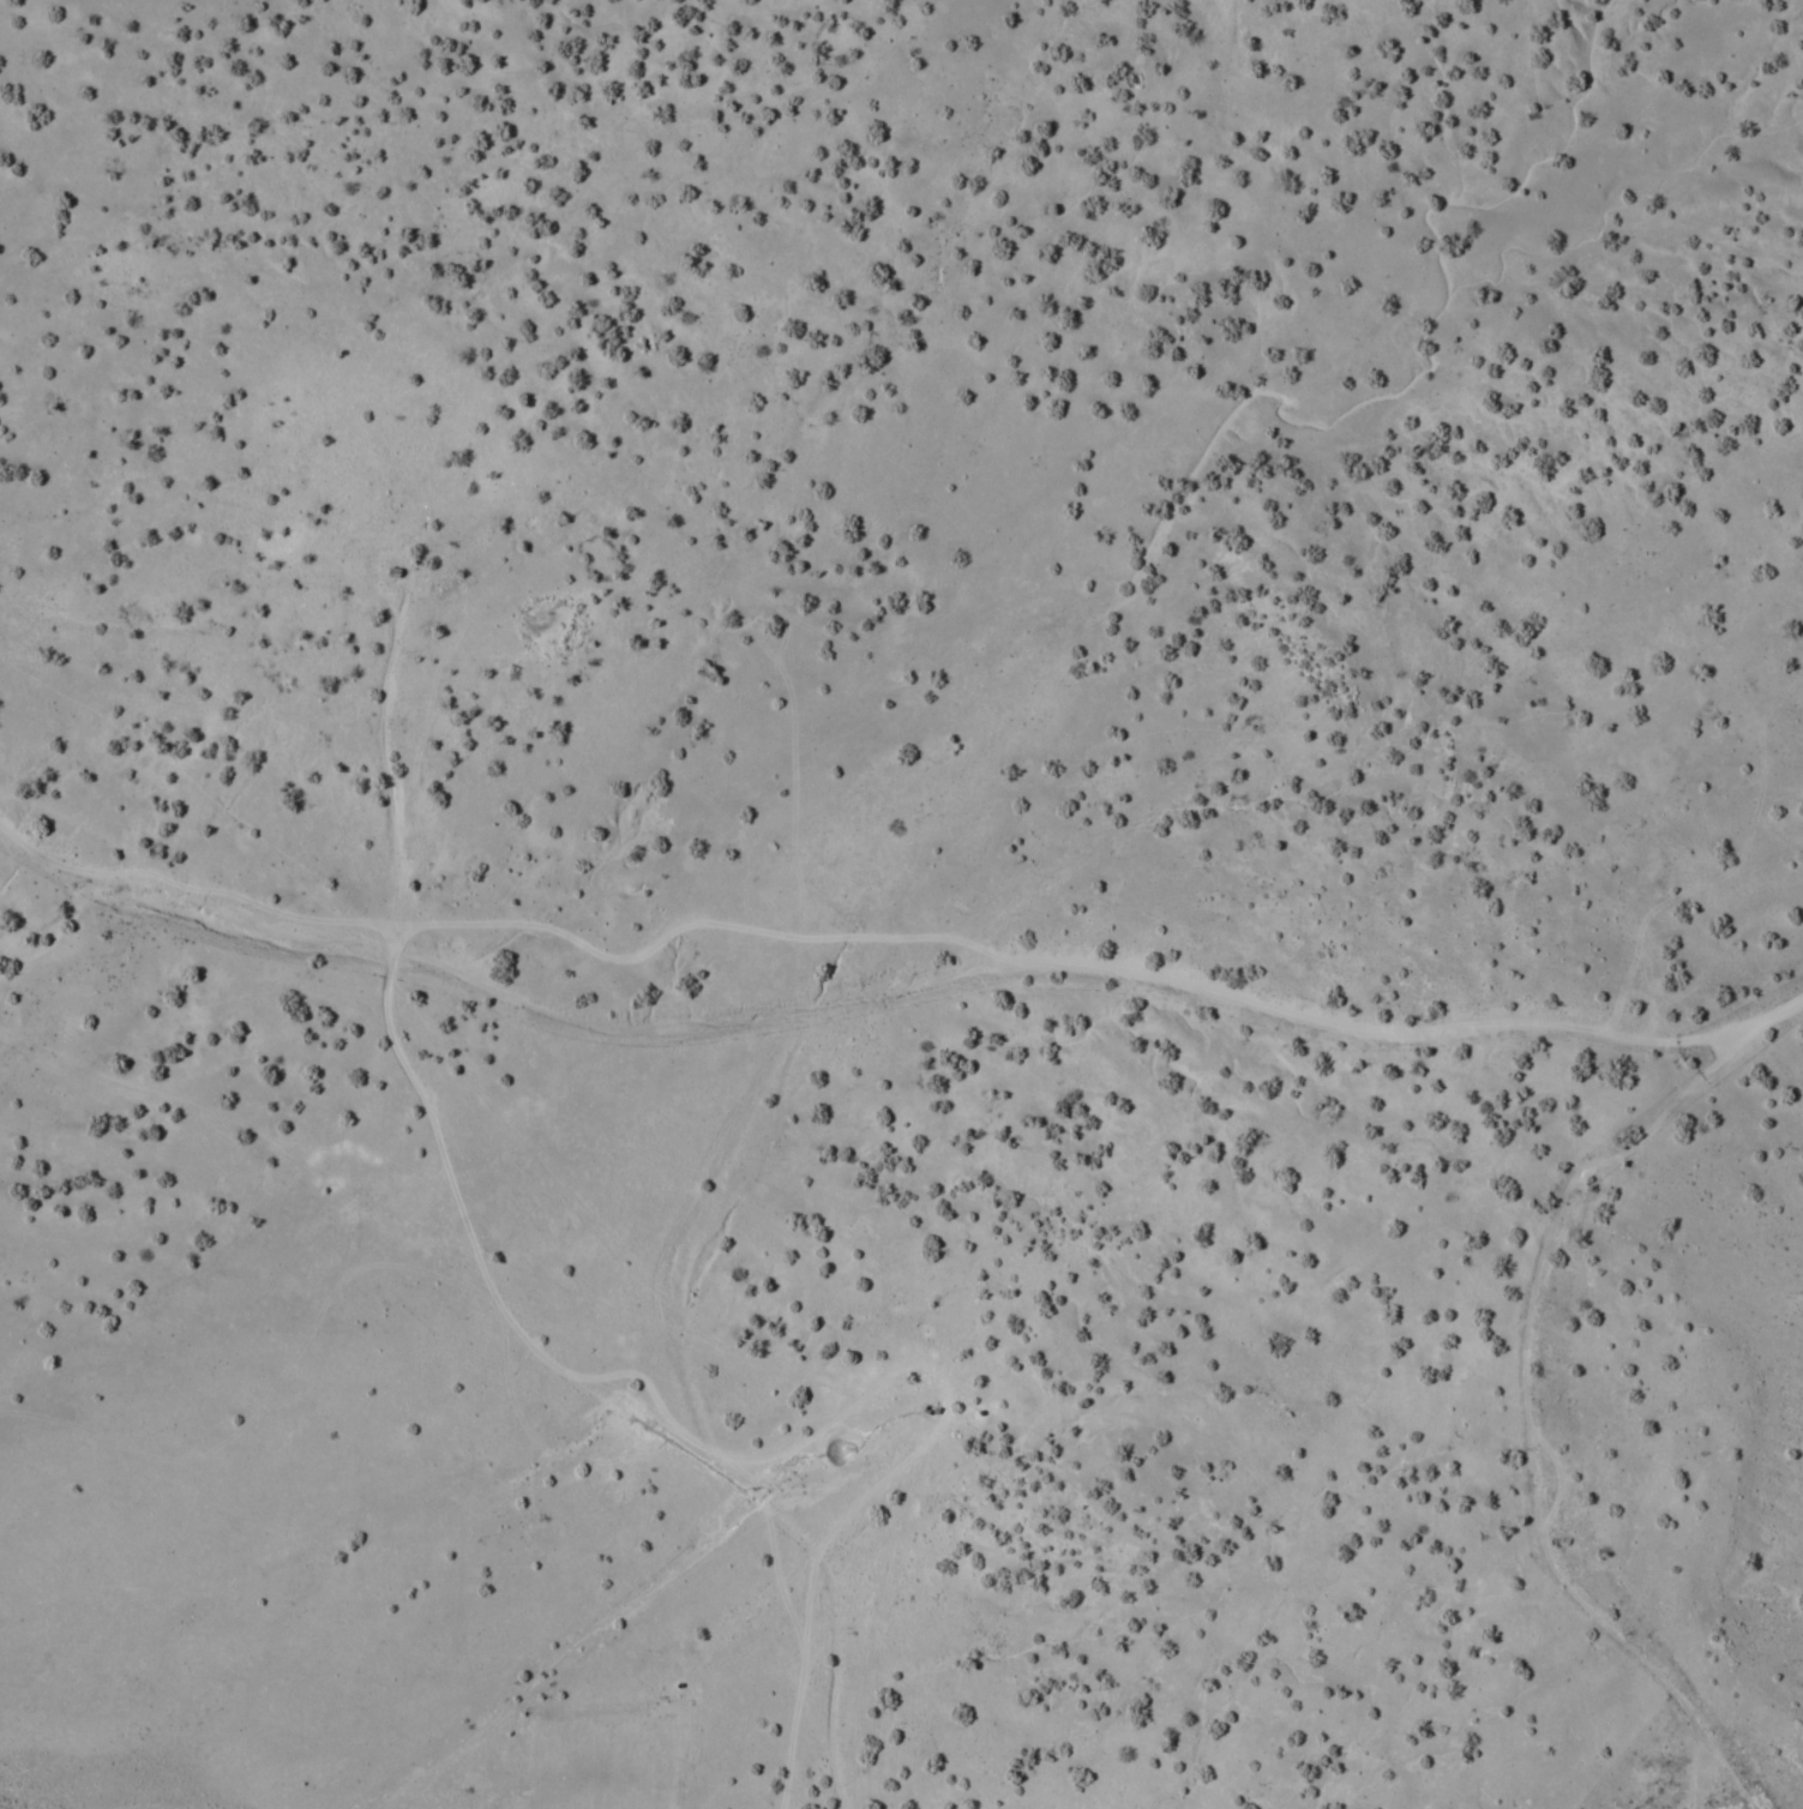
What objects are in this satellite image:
road: (878, 997)
road: (1795, 1003)
road: (482, 1275)
road: (1521, 1357)
road: (697, 1424)

